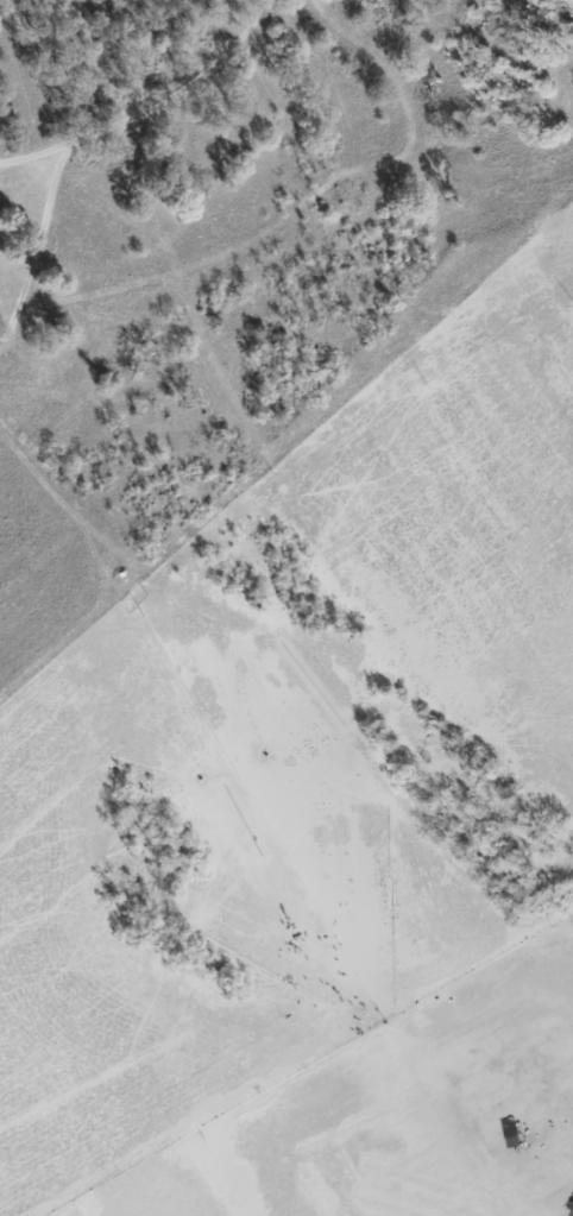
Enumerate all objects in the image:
road: (150, 106)
road: (37, 242)

